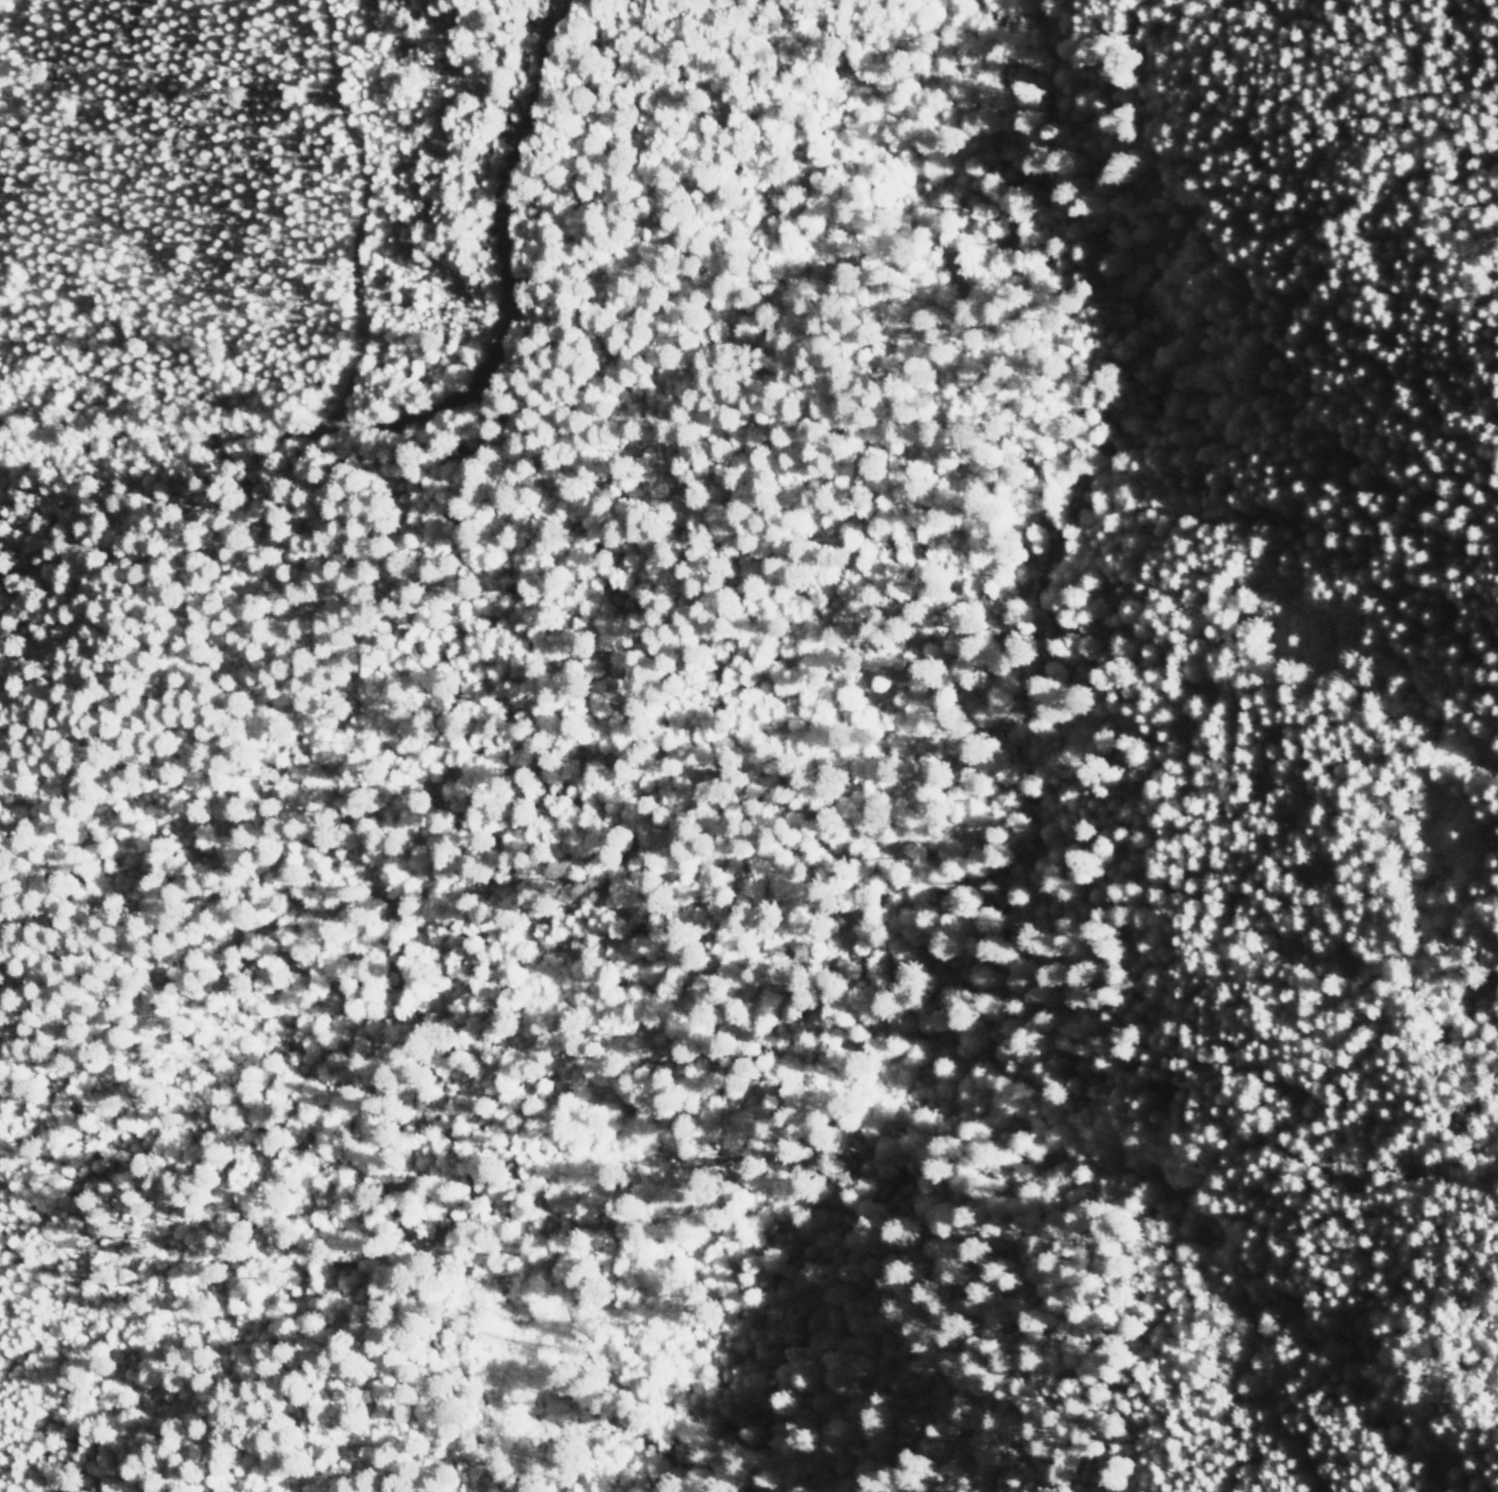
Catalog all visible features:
road: (323, 304)
road: (1401, 1247)

